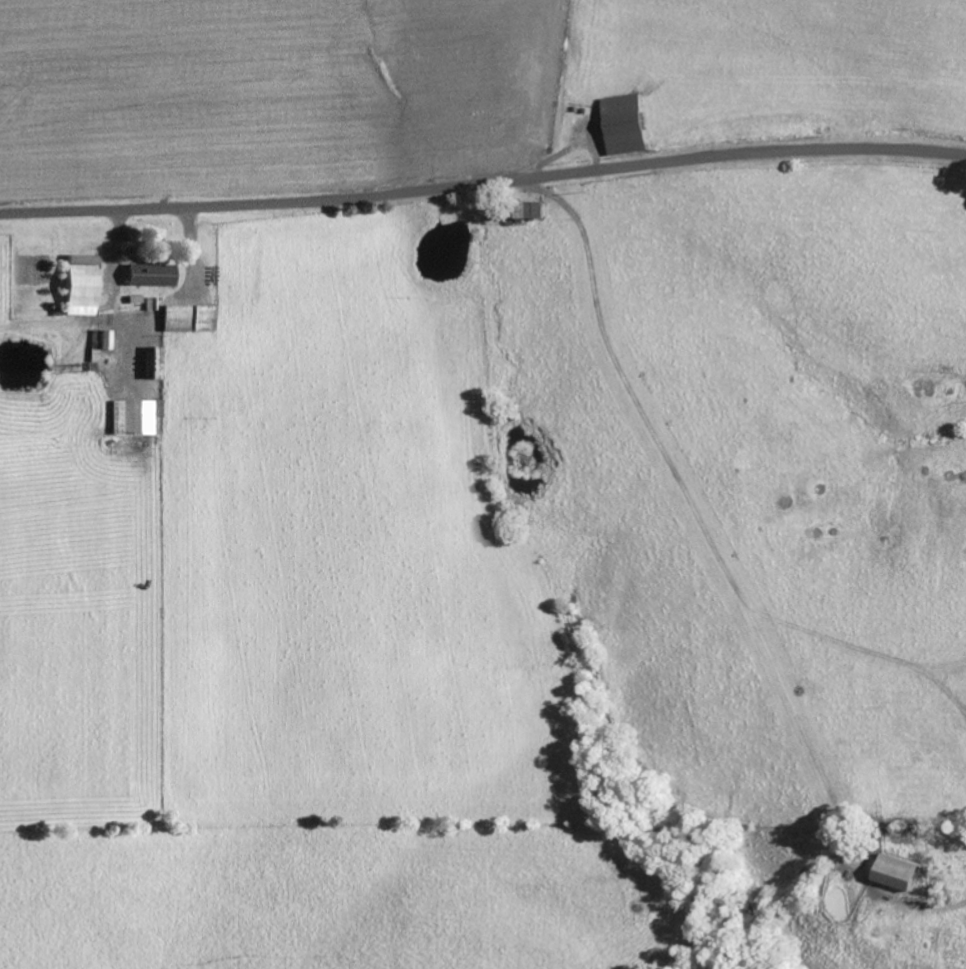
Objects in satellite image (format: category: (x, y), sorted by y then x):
building: (628, 125)
road: (483, 182)
building: (149, 276)
building: (80, 285)
building: (149, 304)
building: (187, 319)
building: (99, 343)
building: (152, 363)
building: (132, 417)
building: (902, 874)

